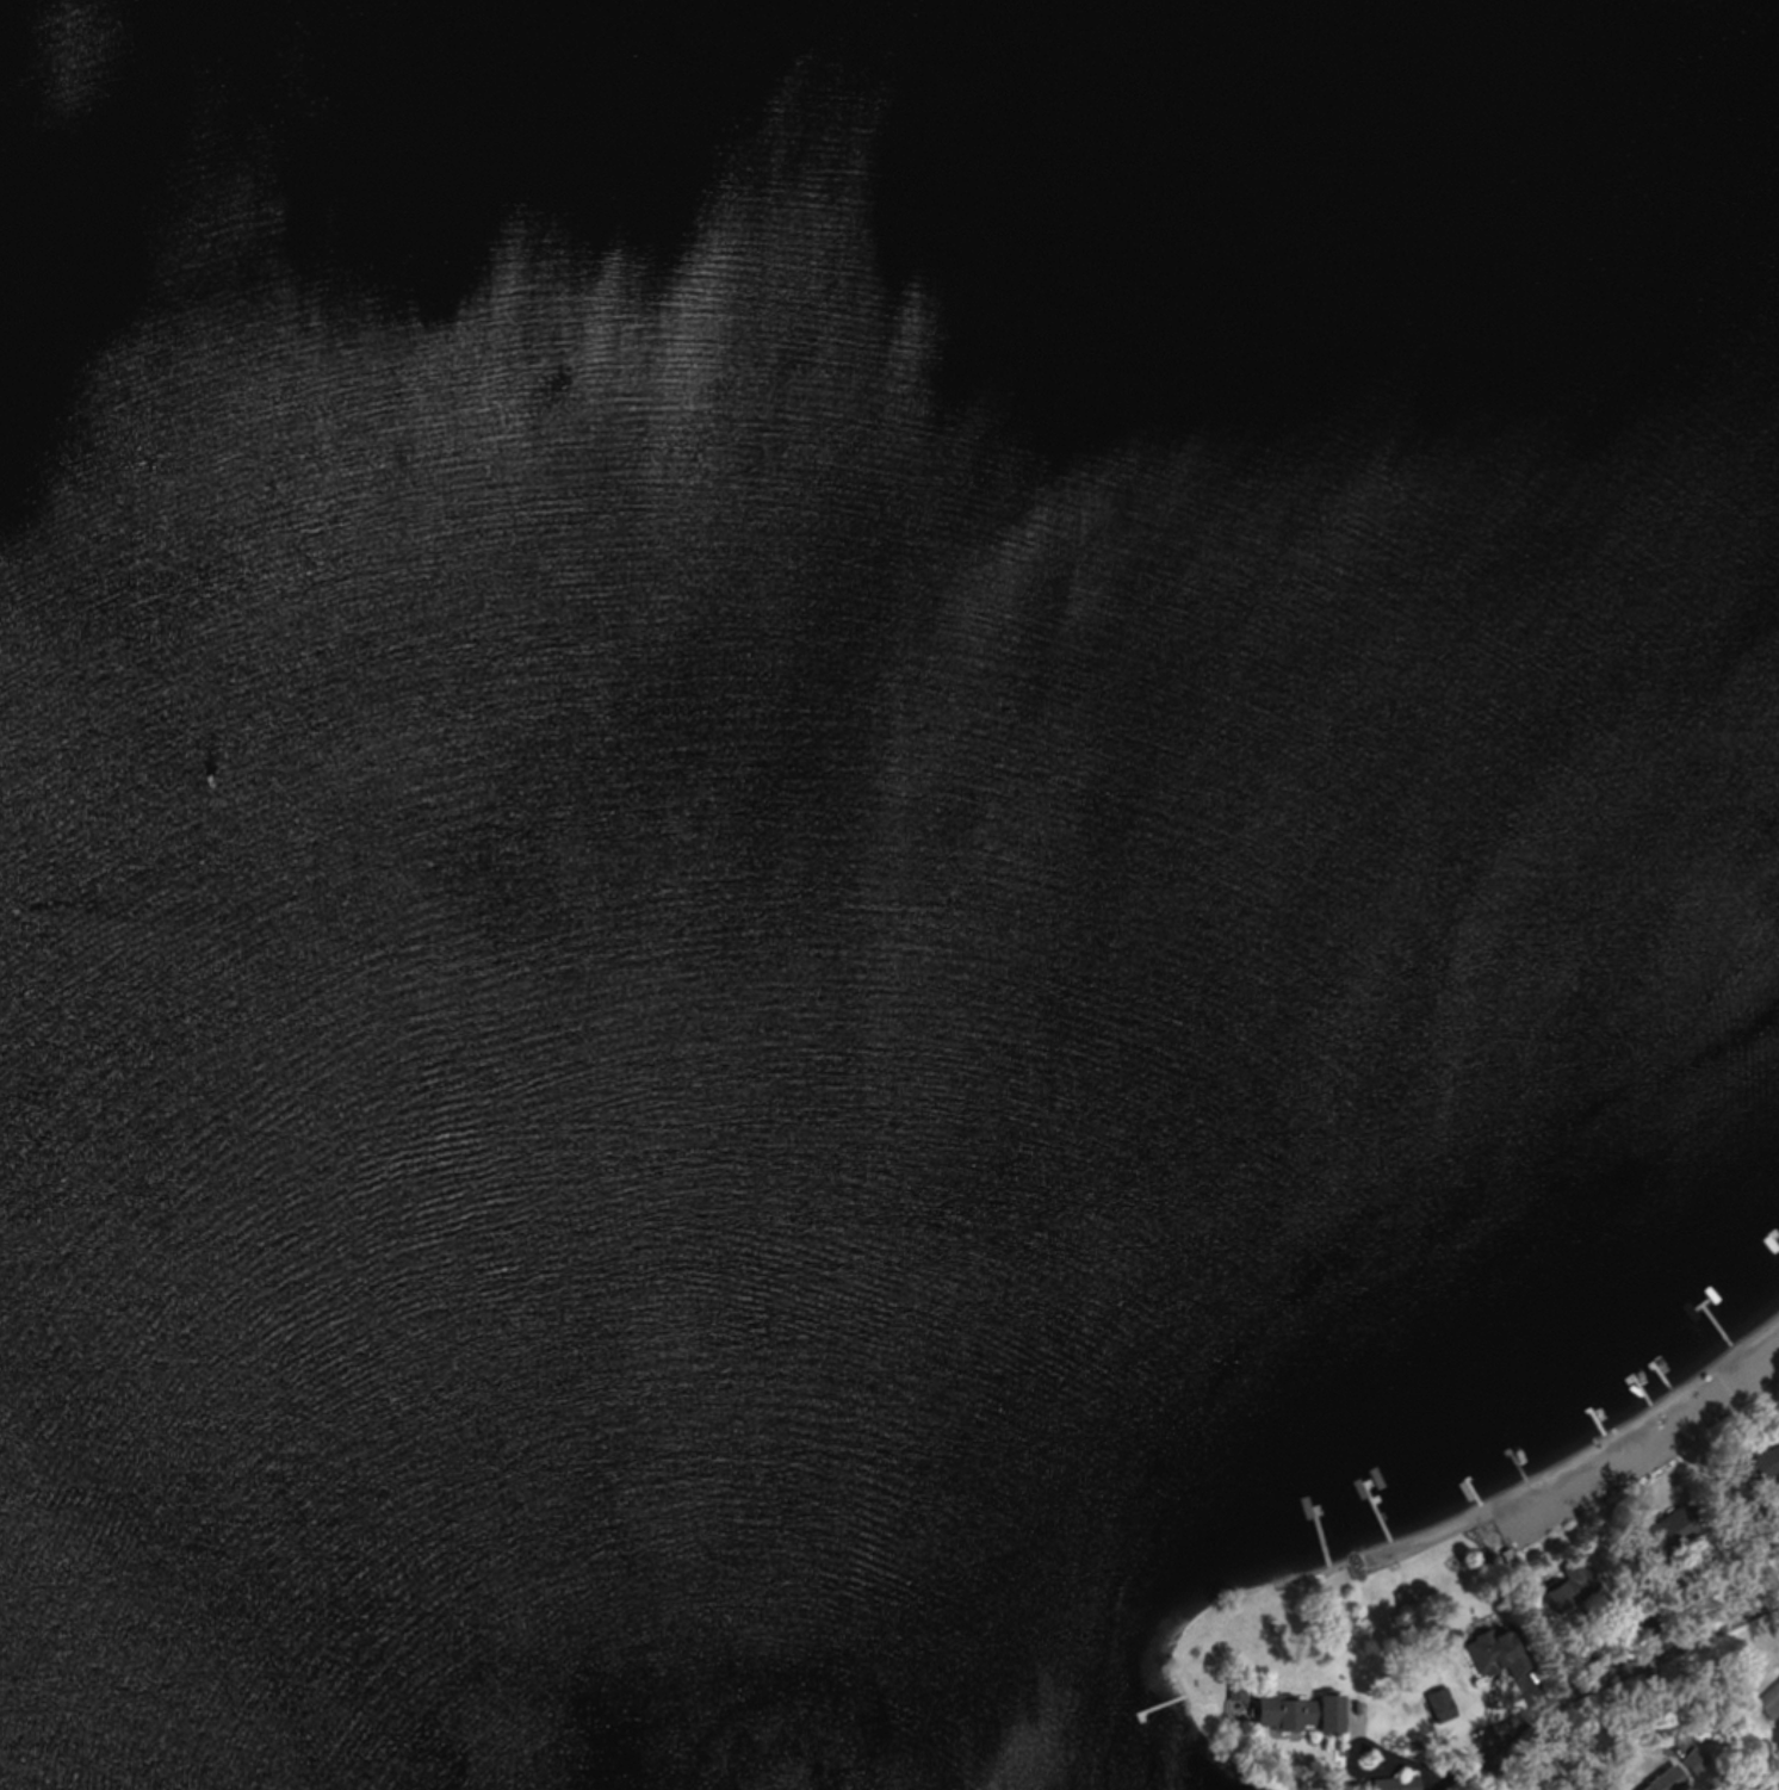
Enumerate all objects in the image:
building: (1765, 1463)
building: (1667, 1532)
building: (1573, 1586)
road: (1631, 1674)
building: (1771, 1703)
building: (1325, 1711)
building: (1278, 1712)
building: (1696, 1760)
building: (1667, 1778)
building: (1402, 1782)

